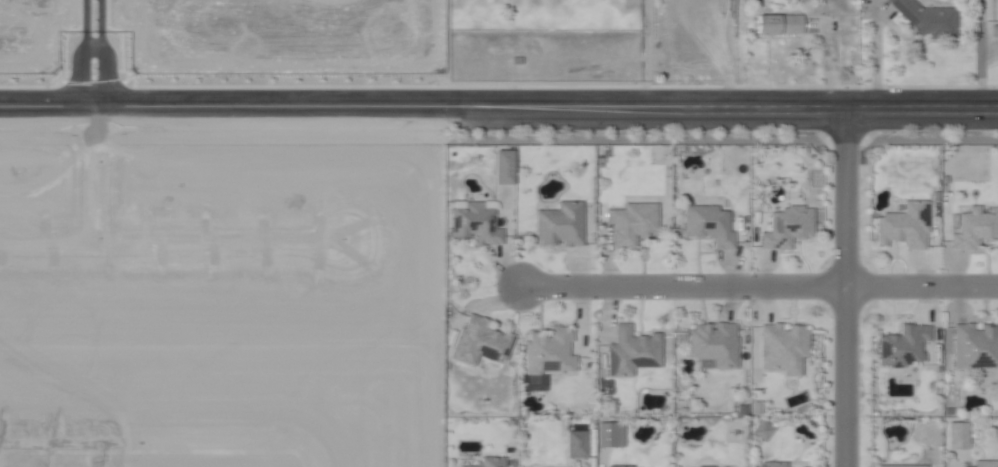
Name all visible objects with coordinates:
building: (930, 20)
building: (780, 26)
building: (993, 31)
road: (85, 58)
road: (447, 60)
road: (874, 64)
road: (979, 73)
road: (498, 120)
building: (601, 162)
building: (501, 167)
road: (86, 178)
building: (711, 224)
building: (563, 225)
building: (476, 226)
building: (633, 226)
building: (908, 226)
building: (790, 227)
building: (974, 228)
road: (172, 238)
road: (760, 288)
road: (847, 294)
building: (478, 342)
building: (783, 345)
building: (905, 346)
building: (977, 346)
building: (716, 347)
building: (635, 351)
building: (550, 354)
building: (757, 410)
building: (744, 412)
building: (760, 431)
building: (610, 434)
building: (961, 436)
road: (156, 441)
building: (575, 444)
road: (311, 454)
building: (494, 462)
building: (987, 464)
building: (623, 465)
building: (774, 465)
building: (708, 466)
building: (906, 466)

